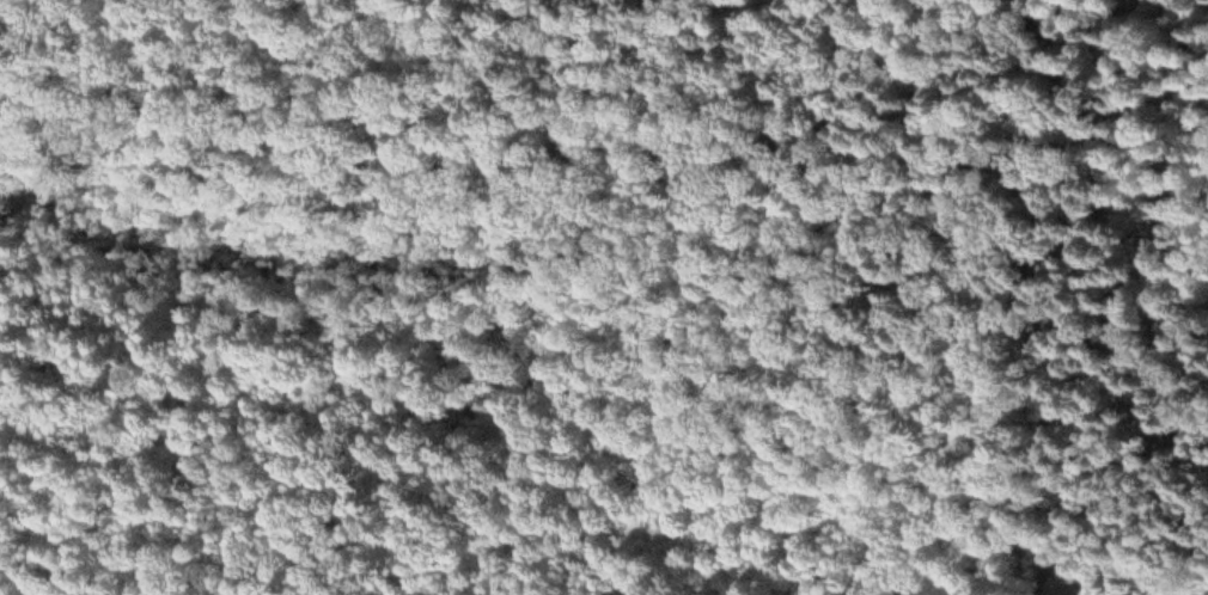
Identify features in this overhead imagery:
road: (600, 170)

